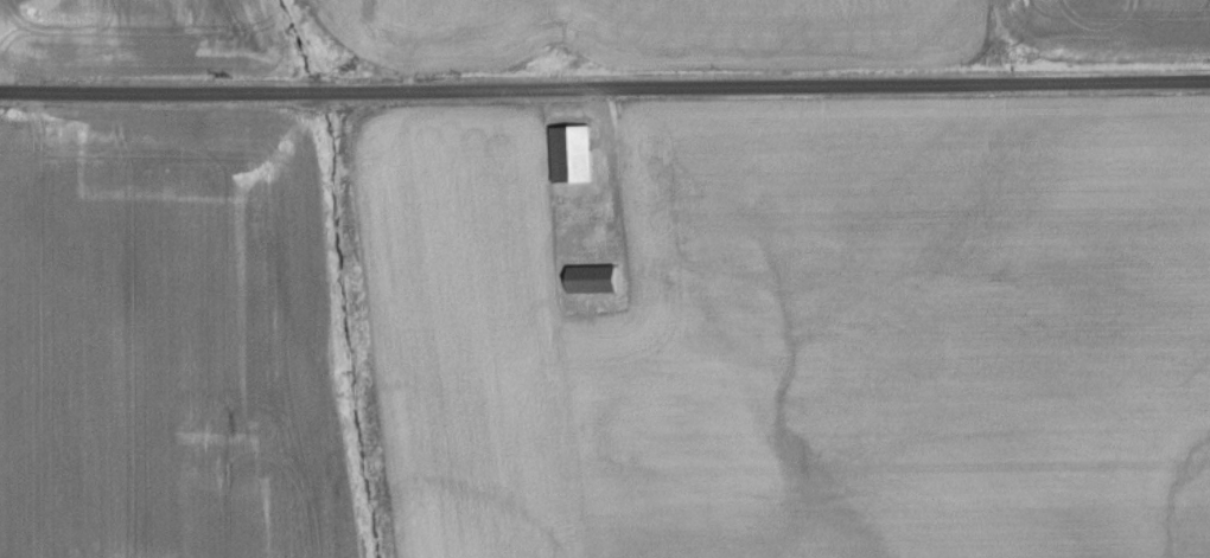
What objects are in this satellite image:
road: (604, 86)
building: (577, 155)
building: (598, 281)
crop: (167, 341)

